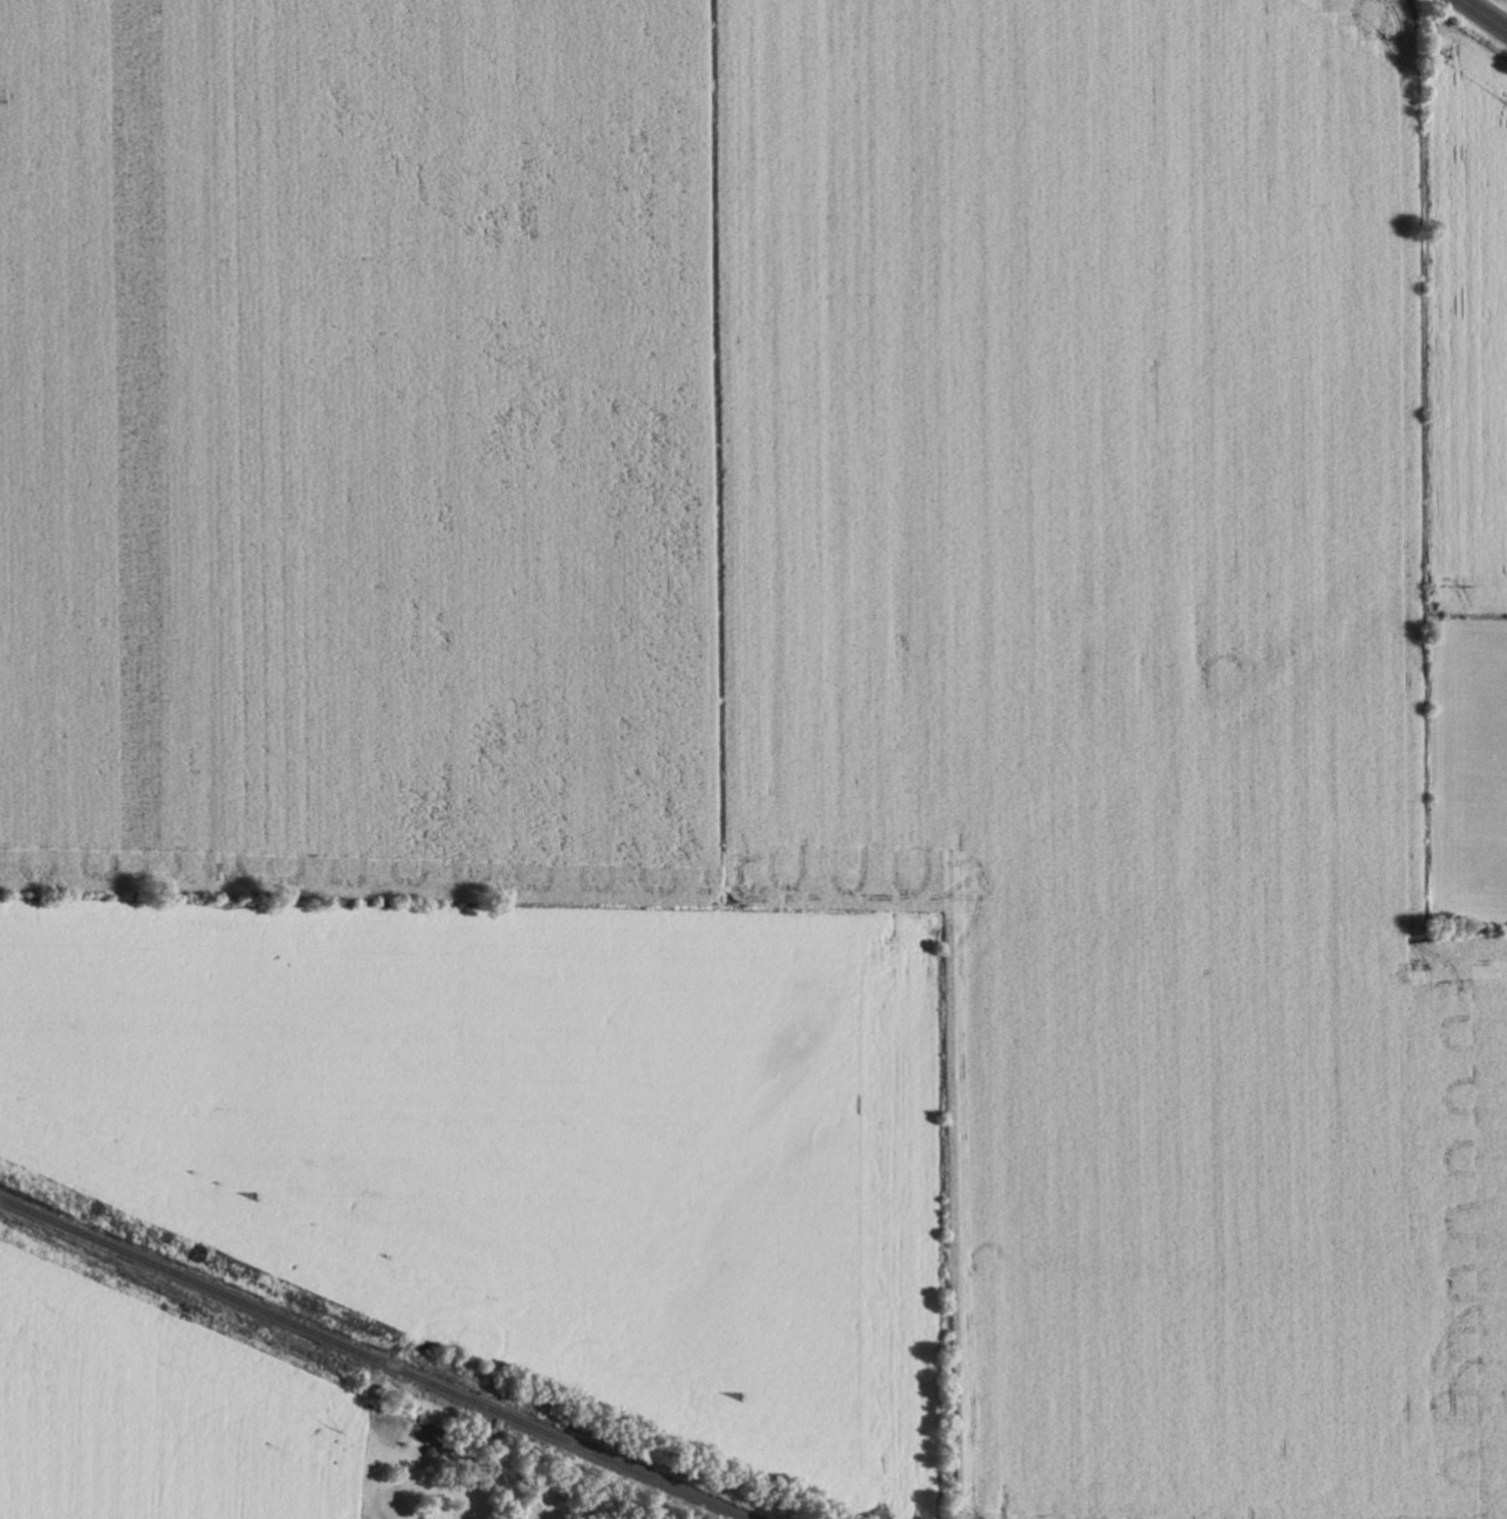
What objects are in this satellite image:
road: (1476, 28)
railway: (374, 1358)

